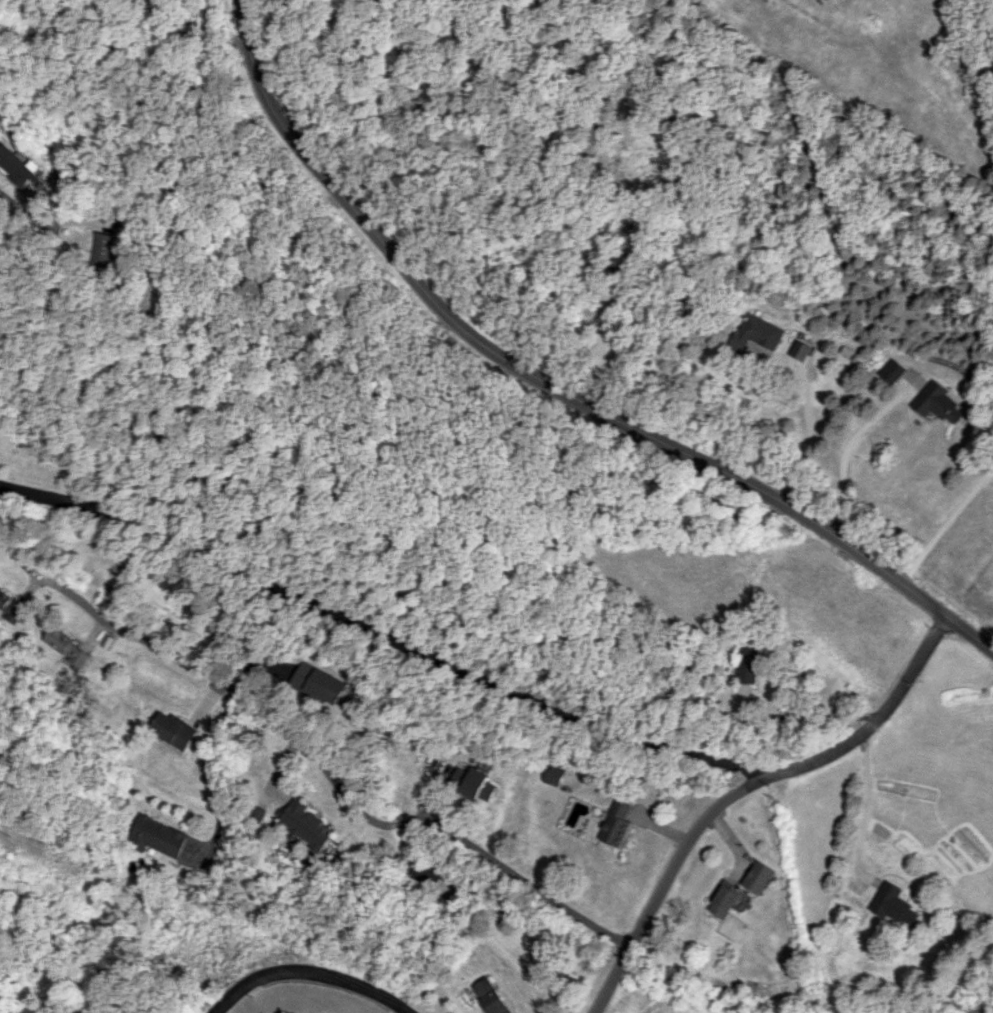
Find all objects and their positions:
building: (22, 169)
road: (15, 209)
building: (105, 249)
building: (757, 332)
building: (892, 371)
road: (556, 381)
building: (939, 404)
road: (814, 423)
road: (850, 449)
road: (946, 524)
road: (48, 579)
road: (35, 585)
building: (10, 606)
road: (100, 632)
road: (382, 634)
building: (69, 646)
road: (990, 646)
building: (751, 664)
building: (317, 682)
road: (212, 699)
building: (177, 730)
road: (282, 766)
building: (553, 775)
road: (224, 782)
building: (473, 783)
road: (343, 786)
road: (744, 786)
road: (865, 810)
building: (615, 822)
building: (307, 825)
building: (160, 836)
building: (428, 873)
building: (759, 876)
building: (726, 899)
building: (895, 904)
road: (311, 971)
road: (973, 993)
building: (494, 996)

